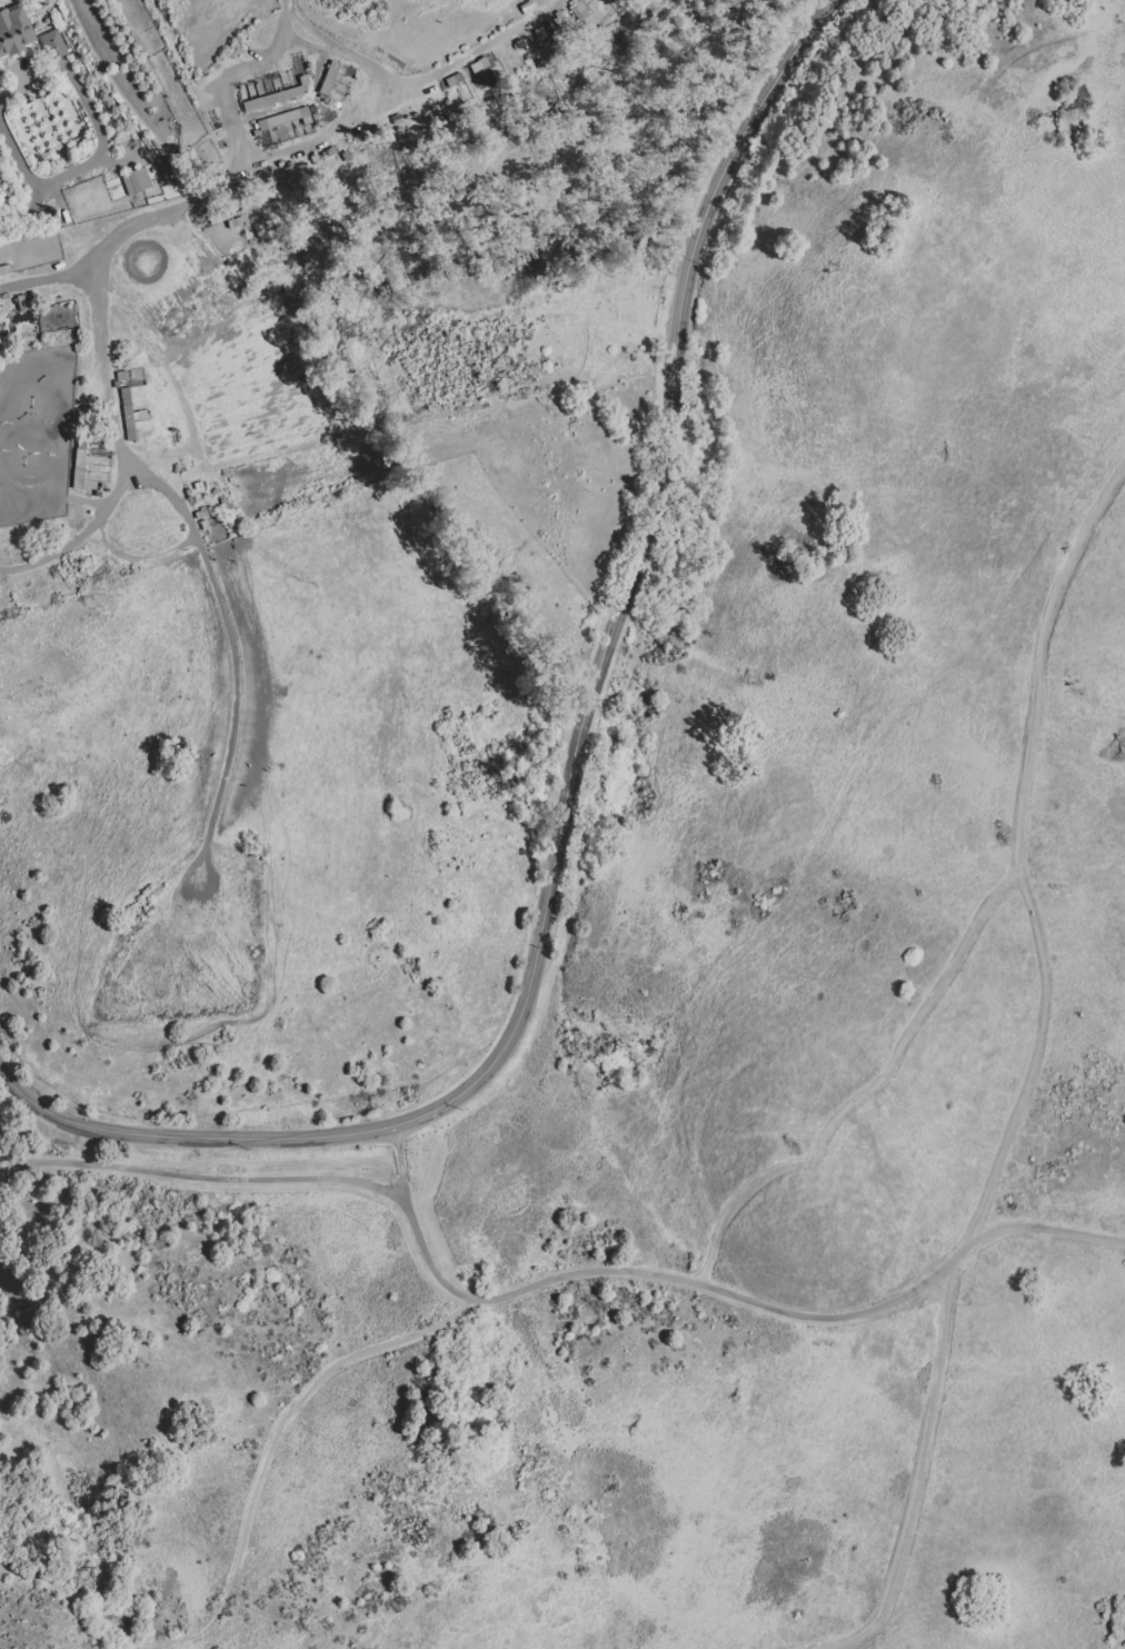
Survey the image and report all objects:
building: (578, 10)
building: (14, 38)
road: (335, 44)
building: (54, 46)
road: (310, 47)
road: (471, 51)
building: (519, 59)
building: (327, 78)
building: (331, 85)
building: (1, 88)
building: (270, 99)
building: (291, 122)
road: (320, 138)
road: (99, 150)
building: (135, 181)
road: (210, 187)
road: (19, 210)
building: (126, 414)
building: (80, 467)
building: (205, 528)
road: (86, 534)
road: (198, 544)
road: (138, 557)
road: (3, 570)
road: (570, 773)
road: (1017, 873)
road: (864, 1092)
road: (0, 1164)
road: (0, 1165)
road: (203, 1179)
road: (710, 1290)
road: (915, 1484)
road: (243, 1526)

